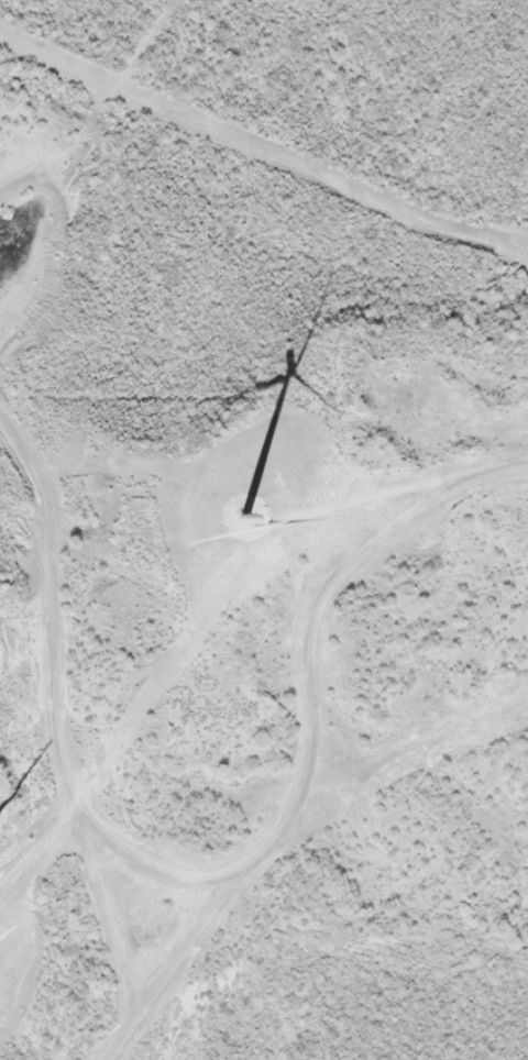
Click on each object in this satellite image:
wind turbine: (248, 517)

